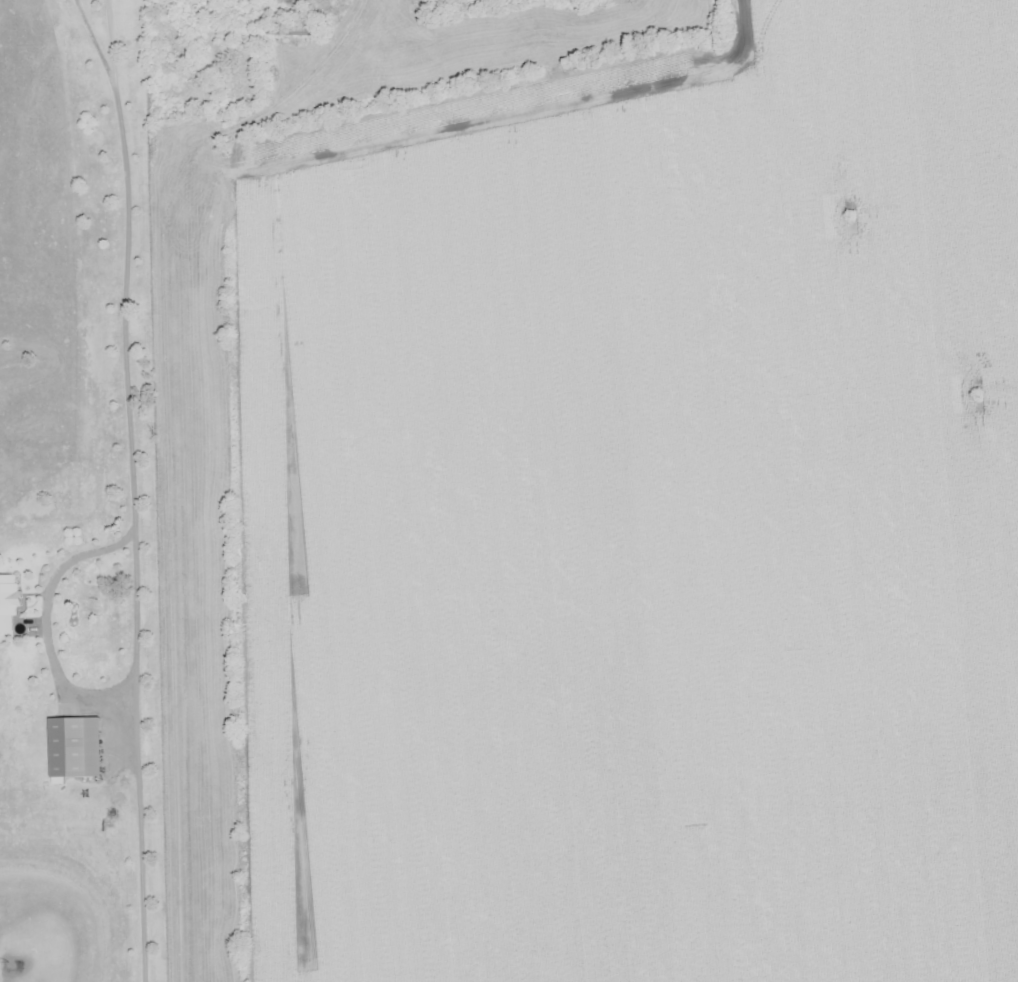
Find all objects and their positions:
building: (294, 27)
building: (6, 599)
building: (71, 746)

